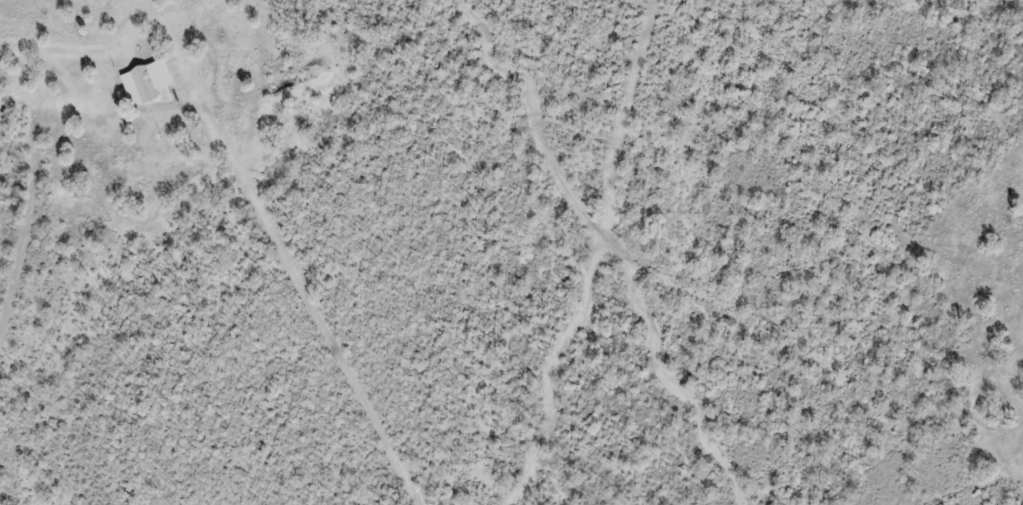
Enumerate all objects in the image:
road: (128, 27)
road: (313, 305)

